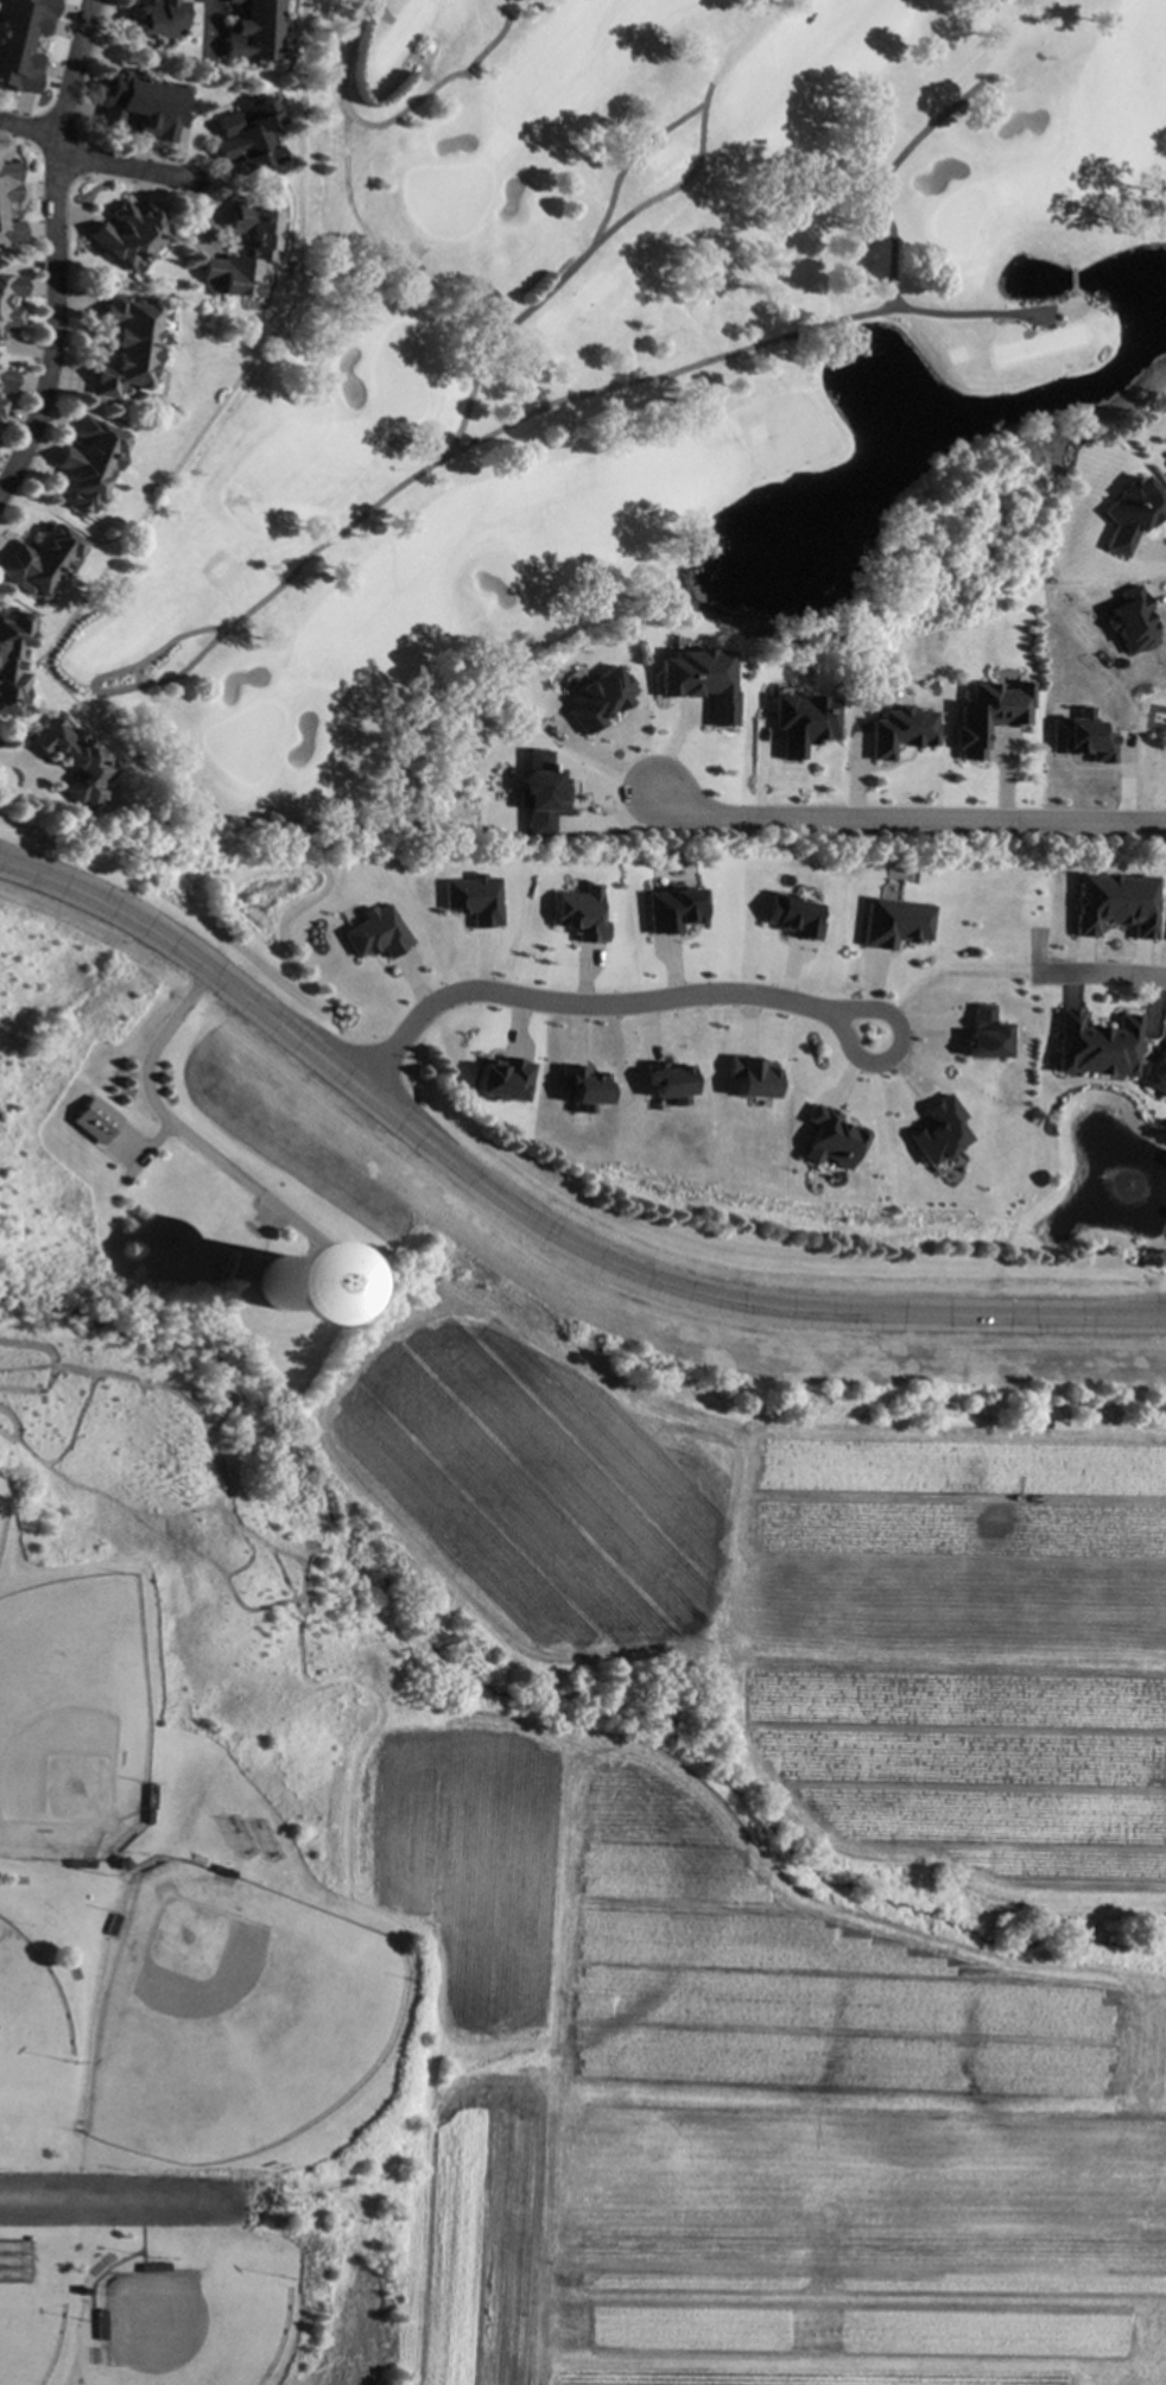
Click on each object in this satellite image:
building: (159, 18)
road: (208, 20)
building: (254, 32)
building: (23, 42)
building: (144, 104)
road: (391, 120)
road: (26, 128)
building: (249, 134)
road: (121, 159)
building: (177, 159)
road: (626, 165)
road: (885, 183)
building: (1, 210)
building: (131, 234)
building: (260, 241)
road: (53, 249)
building: (40, 265)
building: (9, 302)
building: (128, 345)
park: (632, 348)
road: (744, 349)
building: (6, 379)
building: (1, 405)
building: (89, 463)
road: (436, 464)
building: (1124, 513)
building: (39, 560)
building: (1130, 621)
building: (12, 658)
building: (693, 680)
road: (94, 690)
building: (591, 704)
building: (983, 715)
building: (796, 722)
building: (893, 730)
building: (1077, 737)
building: (75, 761)
building: (540, 792)
road: (906, 819)
building: (471, 899)
building: (1114, 903)
building: (667, 909)
building: (579, 914)
building: (787, 915)
building: (889, 921)
building: (374, 933)
road: (953, 970)
road: (1098, 972)
road: (582, 1003)
building: (977, 1033)
building: (1097, 1045)
road: (844, 1053)
building: (1158, 1074)
building: (752, 1077)
building: (500, 1079)
building: (660, 1082)
building: (576, 1087)
building: (95, 1121)
road: (180, 1133)
building: (824, 1136)
building: (932, 1138)
road: (533, 1220)
water tower: (287, 1282)
park: (2, 1509)
crop: (815, 1590)
park: (74, 1721)
building: (152, 1796)
building: (150, 1816)
building: (123, 1861)
building: (82, 1864)
building: (226, 1871)
building: (114, 1923)
park: (31, 2017)
park: (232, 2017)
crop: (746, 2102)
road: (106, 2205)
building: (152, 2266)
building: (100, 2324)
park: (192, 2328)
park: (30, 2332)

